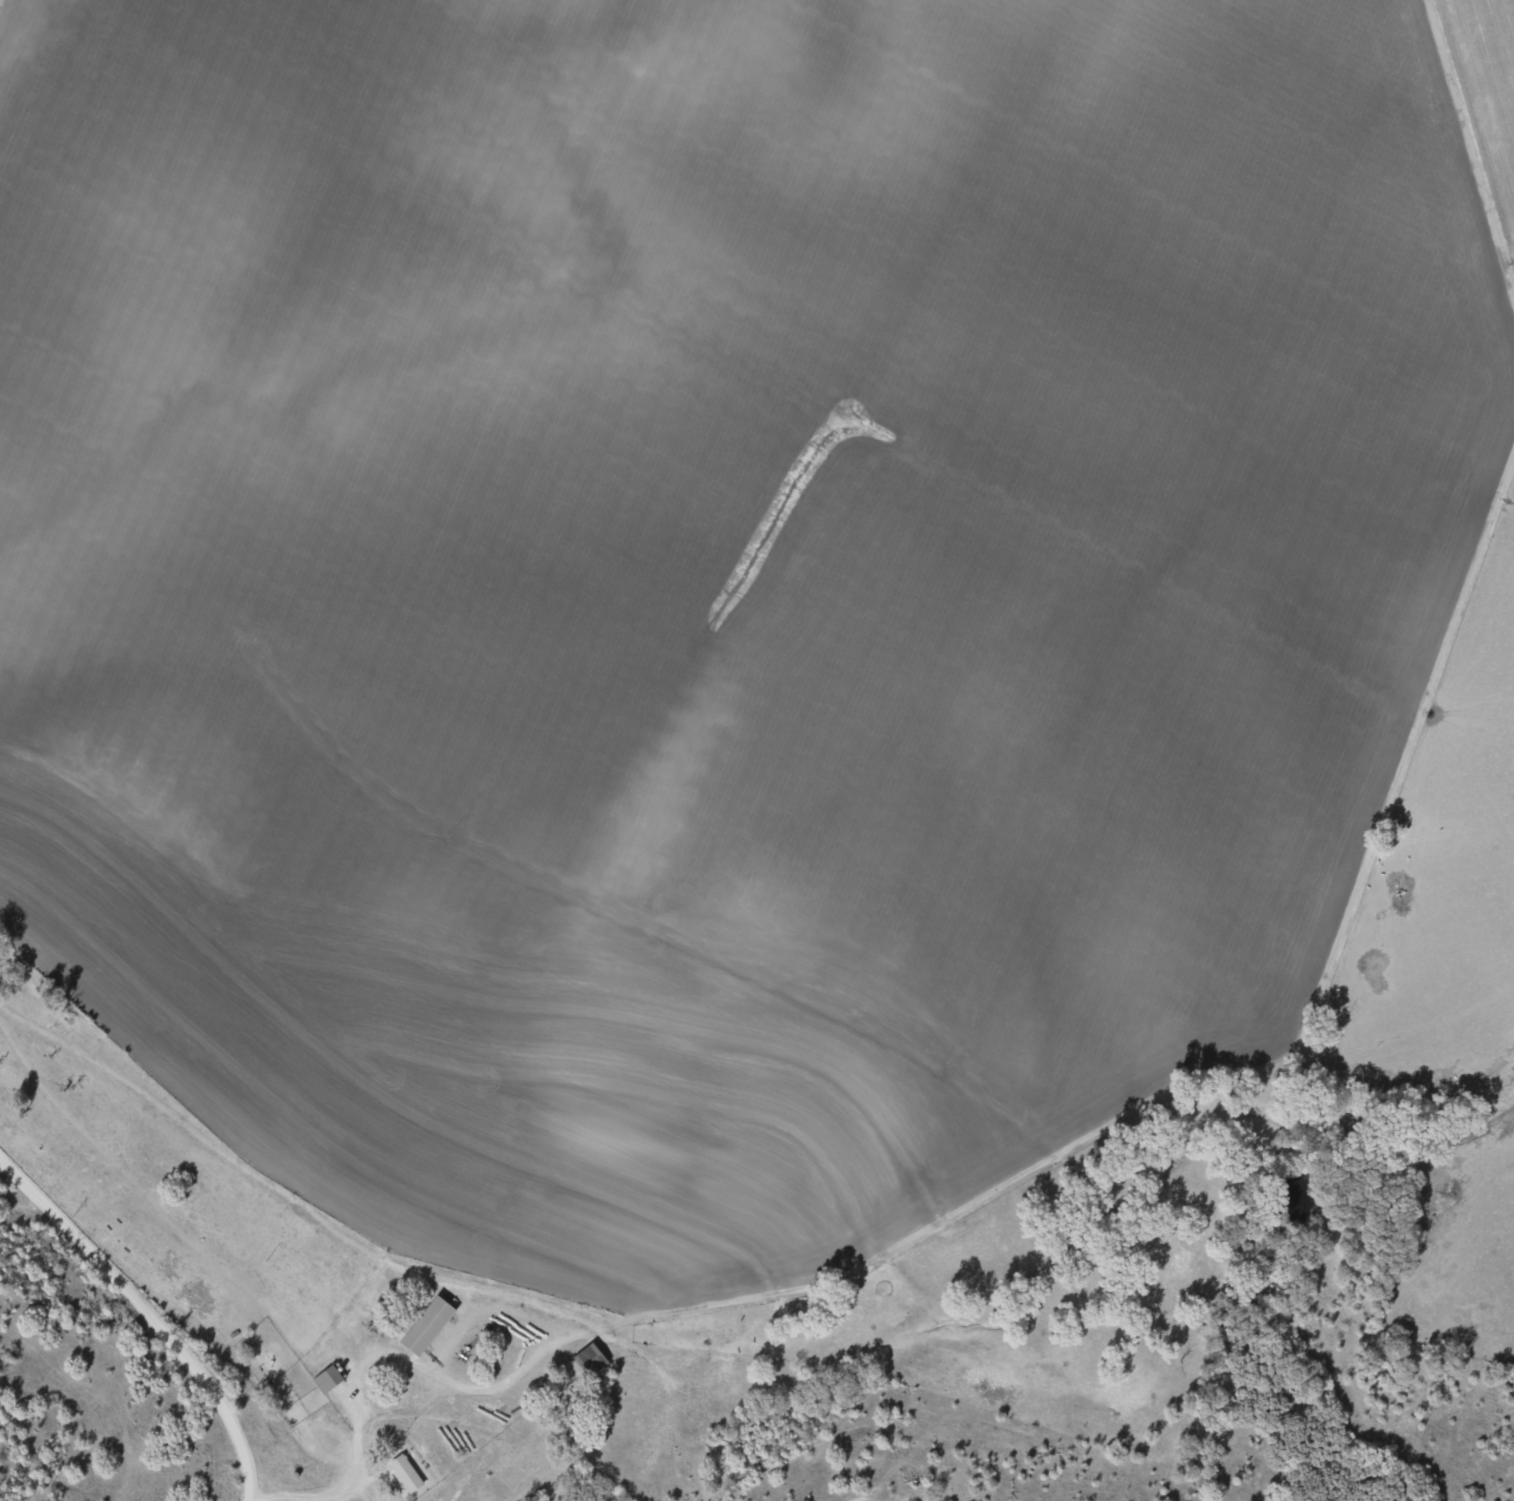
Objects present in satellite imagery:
building: (428, 1326)
road: (124, 1345)
building: (591, 1360)
building: (328, 1379)
building: (406, 1473)

